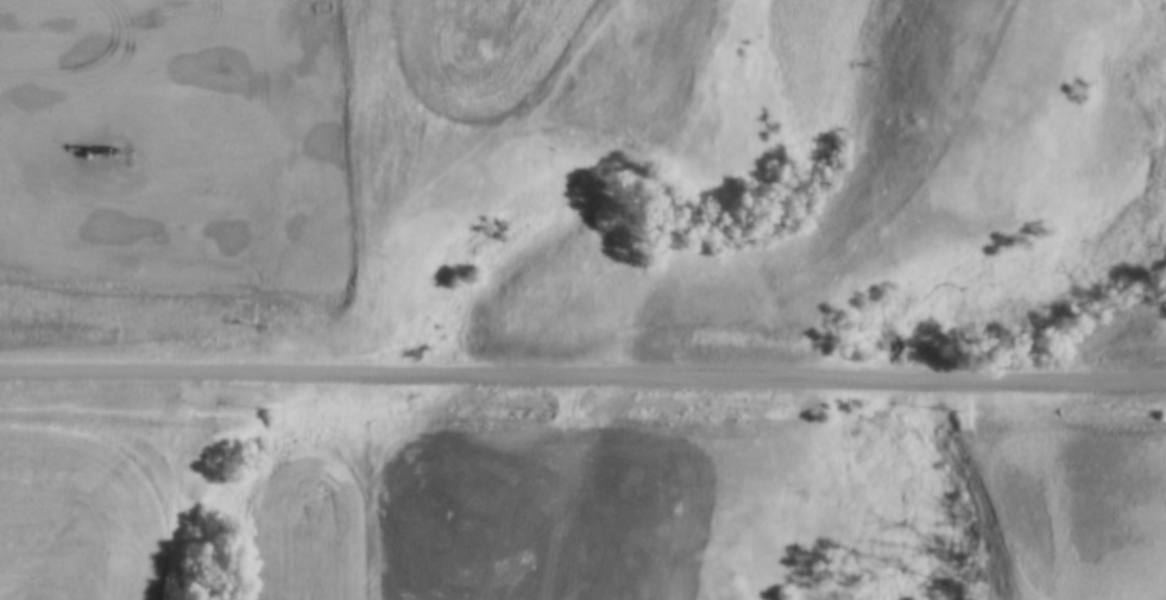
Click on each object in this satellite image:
road: (582, 378)

